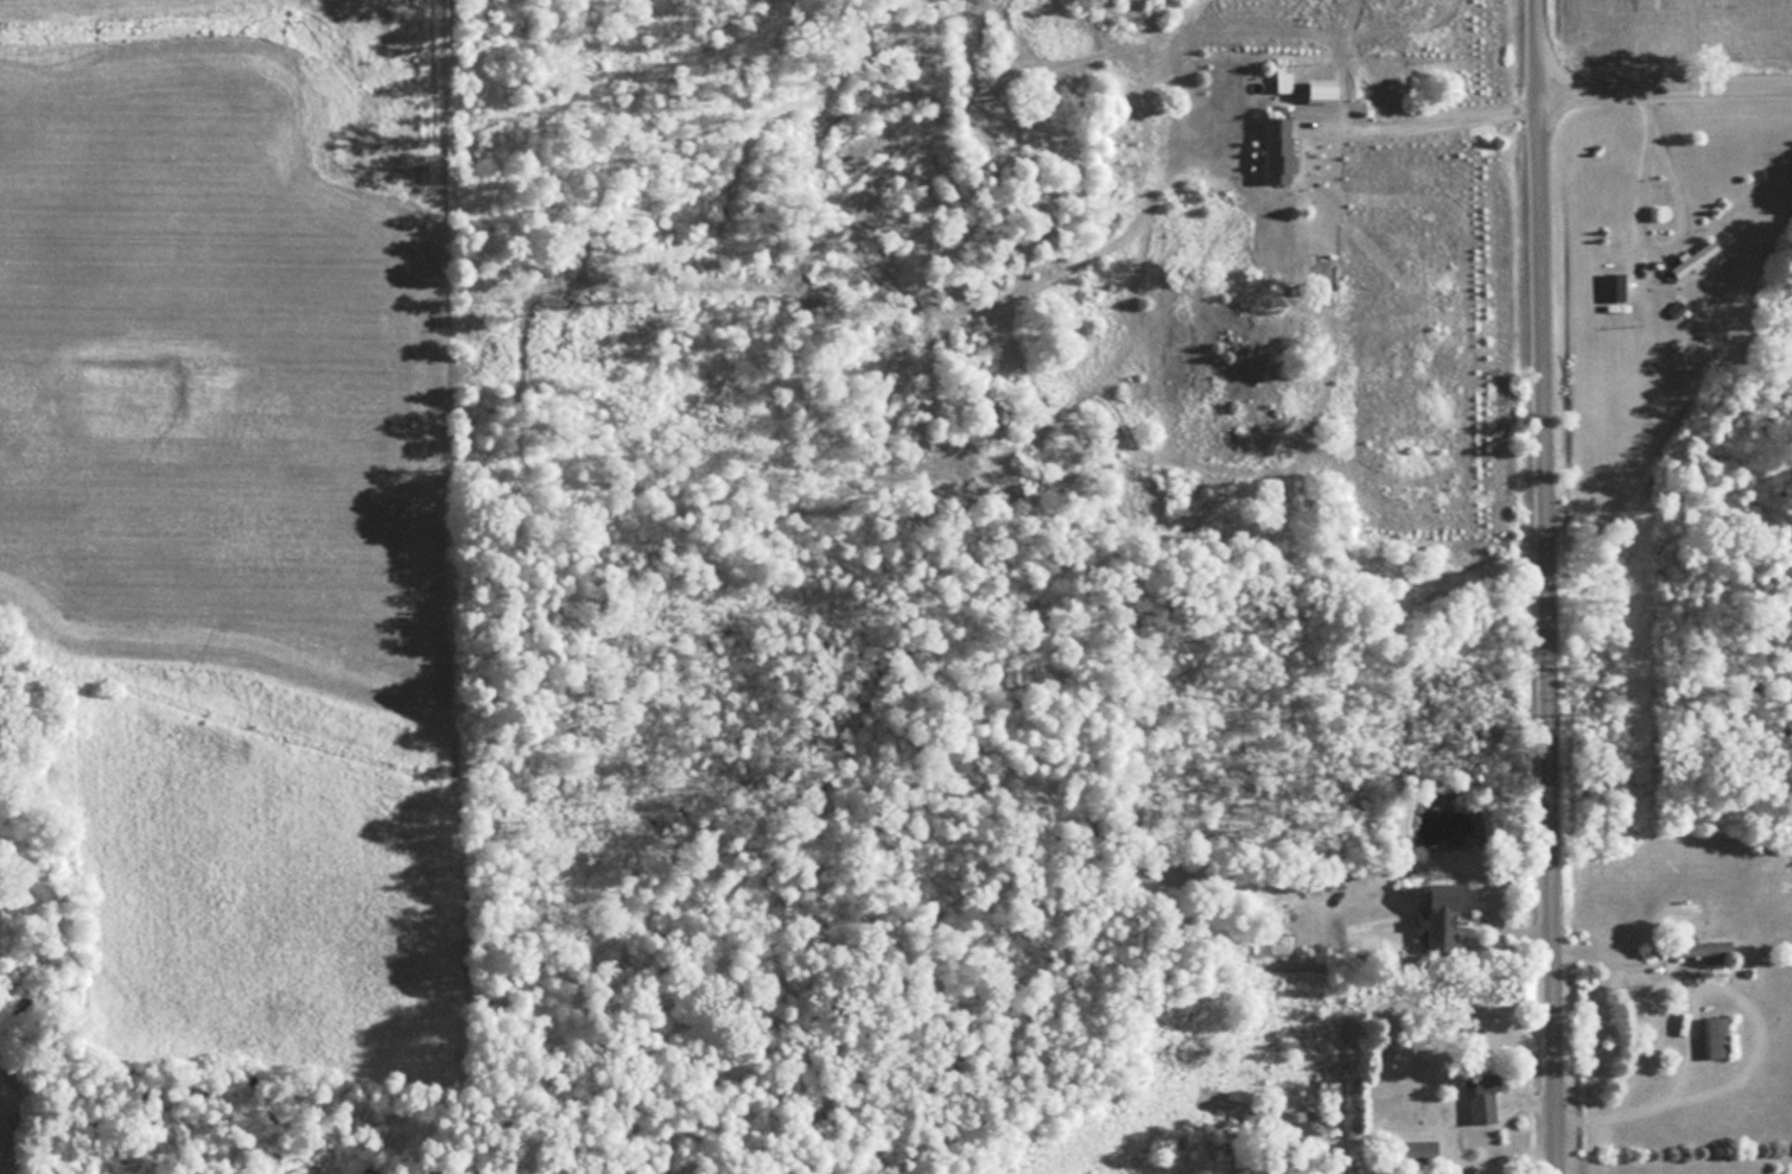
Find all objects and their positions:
road: (1666, 97)
road: (1418, 119)
building: (1279, 151)
building: (1695, 259)
building: (1614, 287)
road: (1548, 586)
building: (1450, 901)
building: (1701, 950)
building: (1717, 1036)
road: (1669, 1092)
building: (1487, 1096)
building: (1421, 1150)

